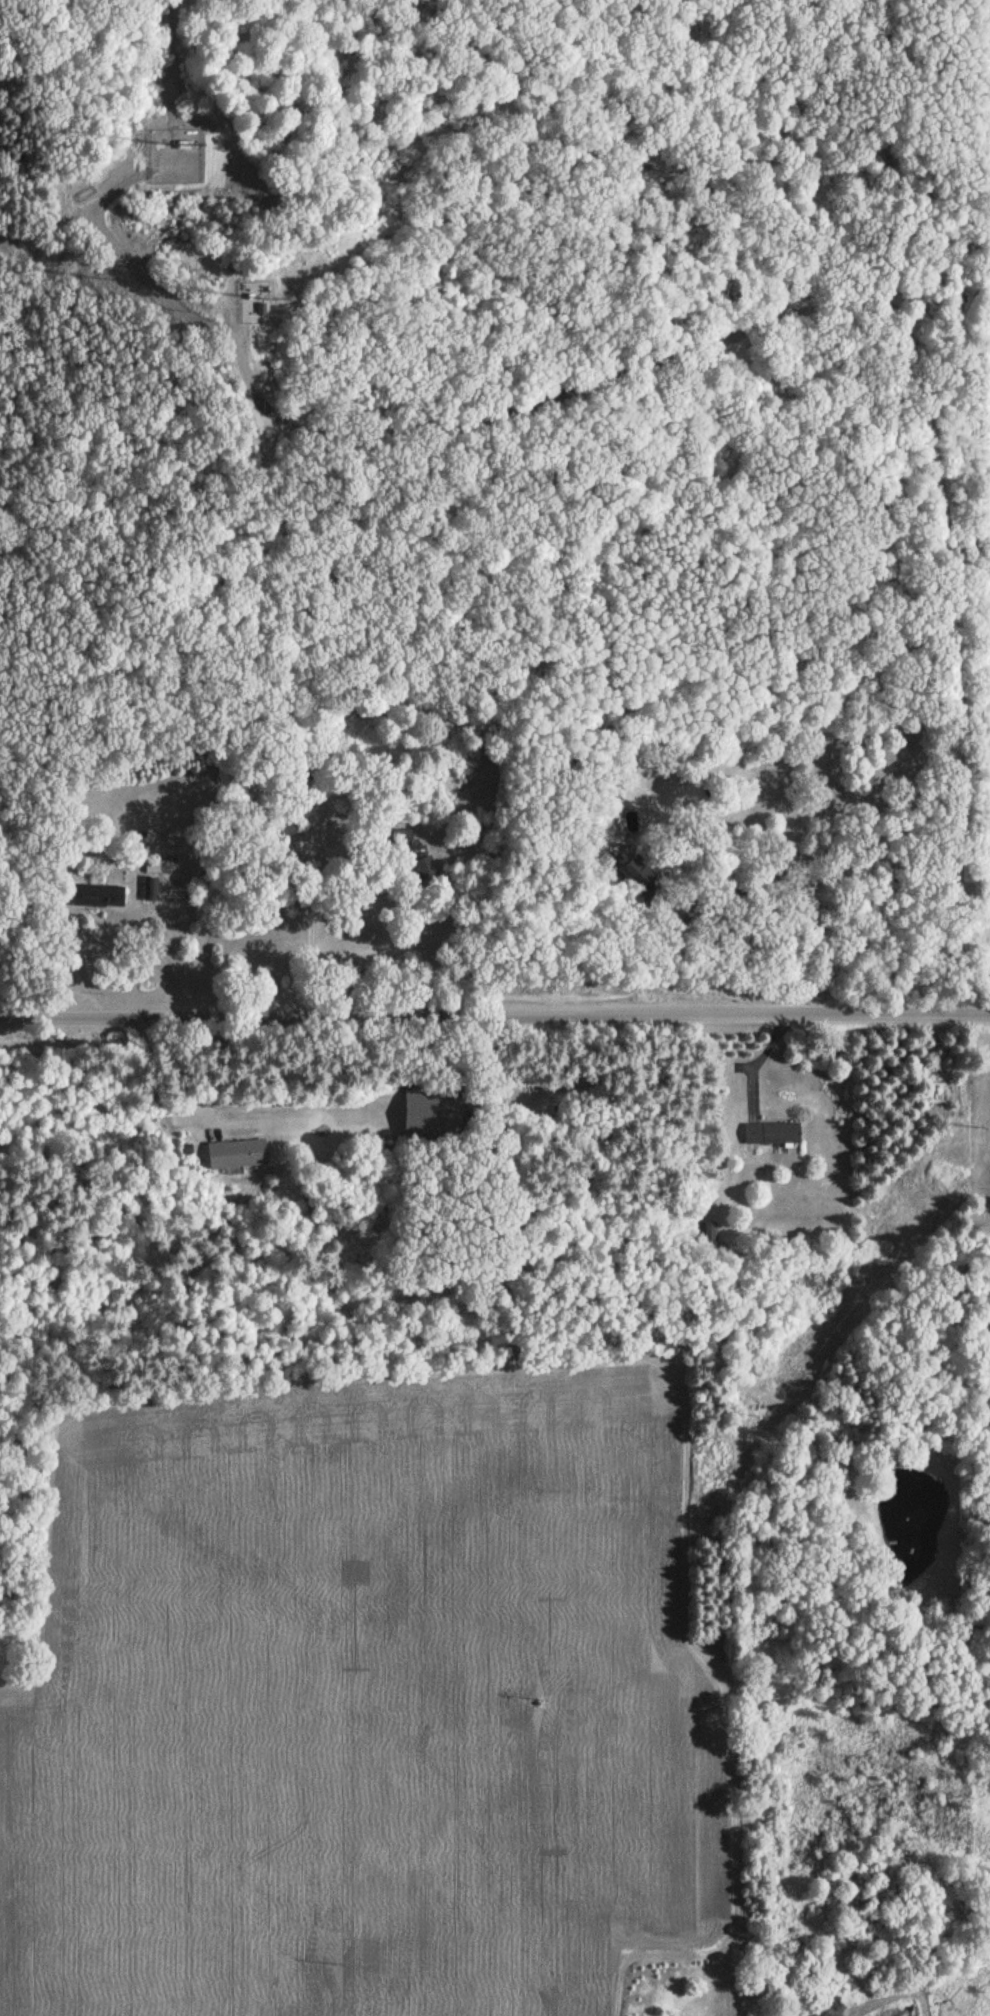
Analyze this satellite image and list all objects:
building: (185, 145)
road: (760, 319)
building: (285, 825)
building: (417, 861)
building: (638, 872)
building: (150, 890)
building: (98, 897)
road: (312, 925)
road: (164, 968)
road: (495, 1018)
road: (169, 1072)
building: (431, 1102)
building: (770, 1134)
power tower: (971, 1134)
building: (235, 1154)
building: (712, 1234)
building: (984, 1340)
power tower: (762, 1409)
power tower: (536, 1702)
power tower: (329, 1973)

